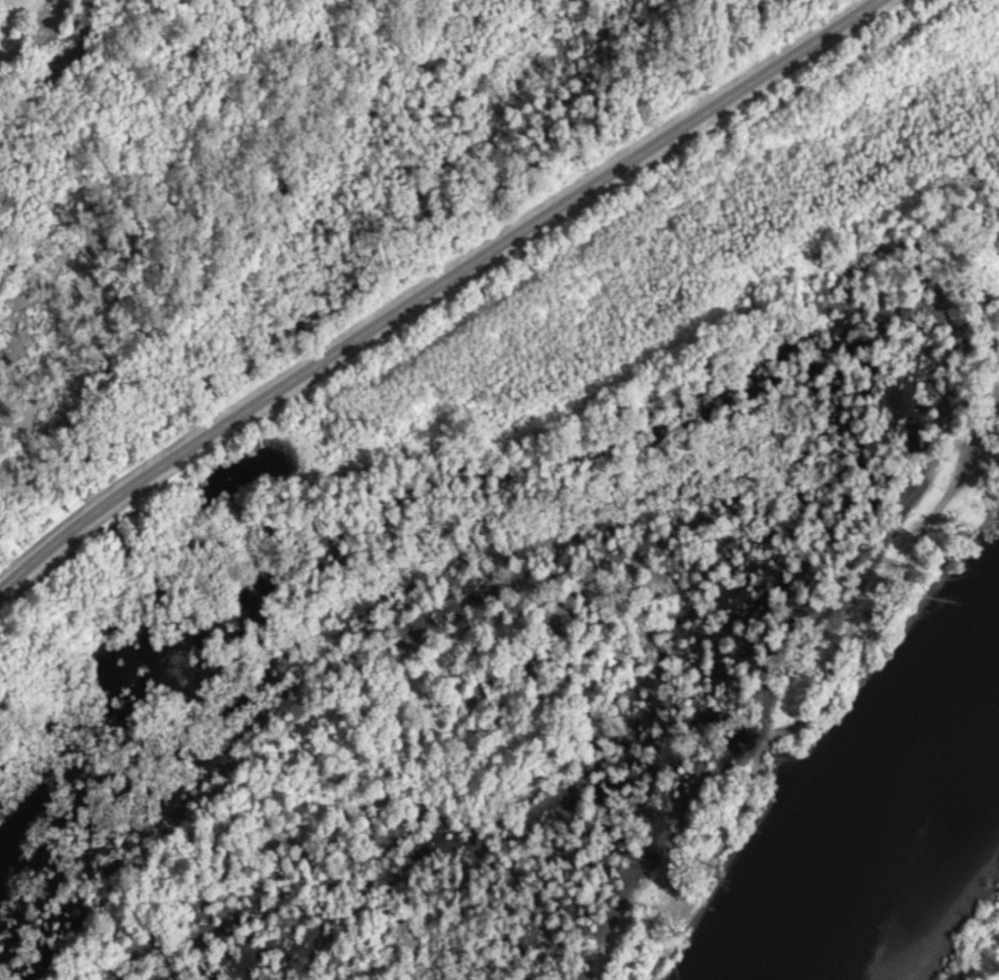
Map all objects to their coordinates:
road: (435, 285)
building: (994, 440)

